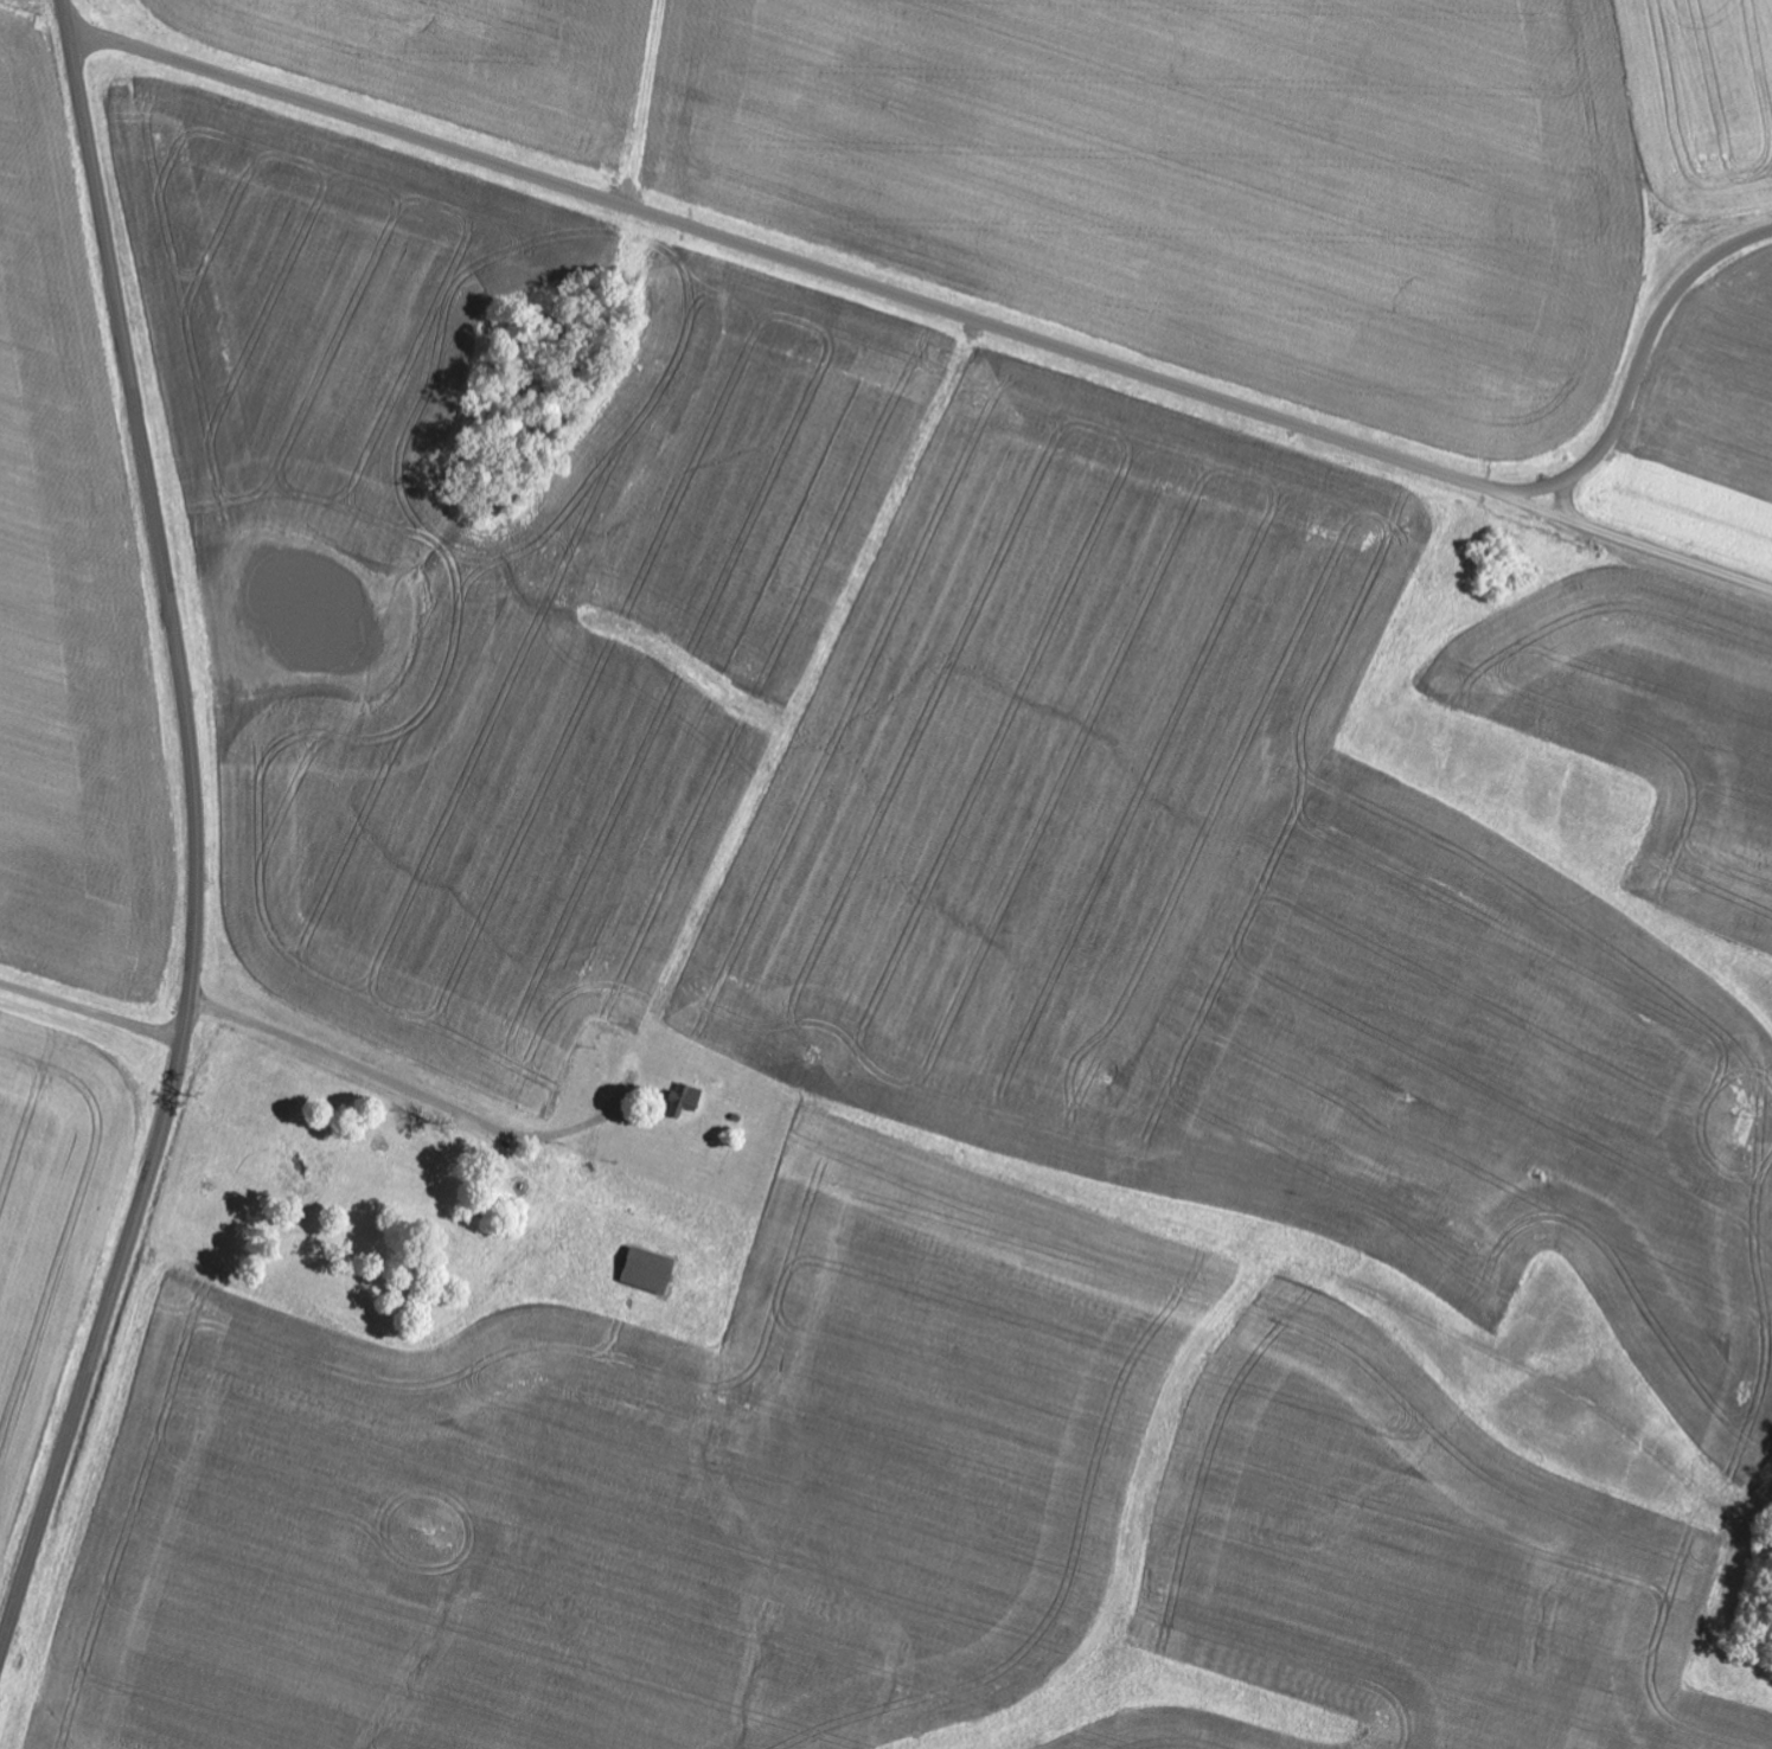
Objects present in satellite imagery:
road: (975, 321)
road: (1534, 510)
road: (1650, 553)
road: (197, 835)
road: (693, 910)
road: (91, 1014)
building: (652, 1273)

